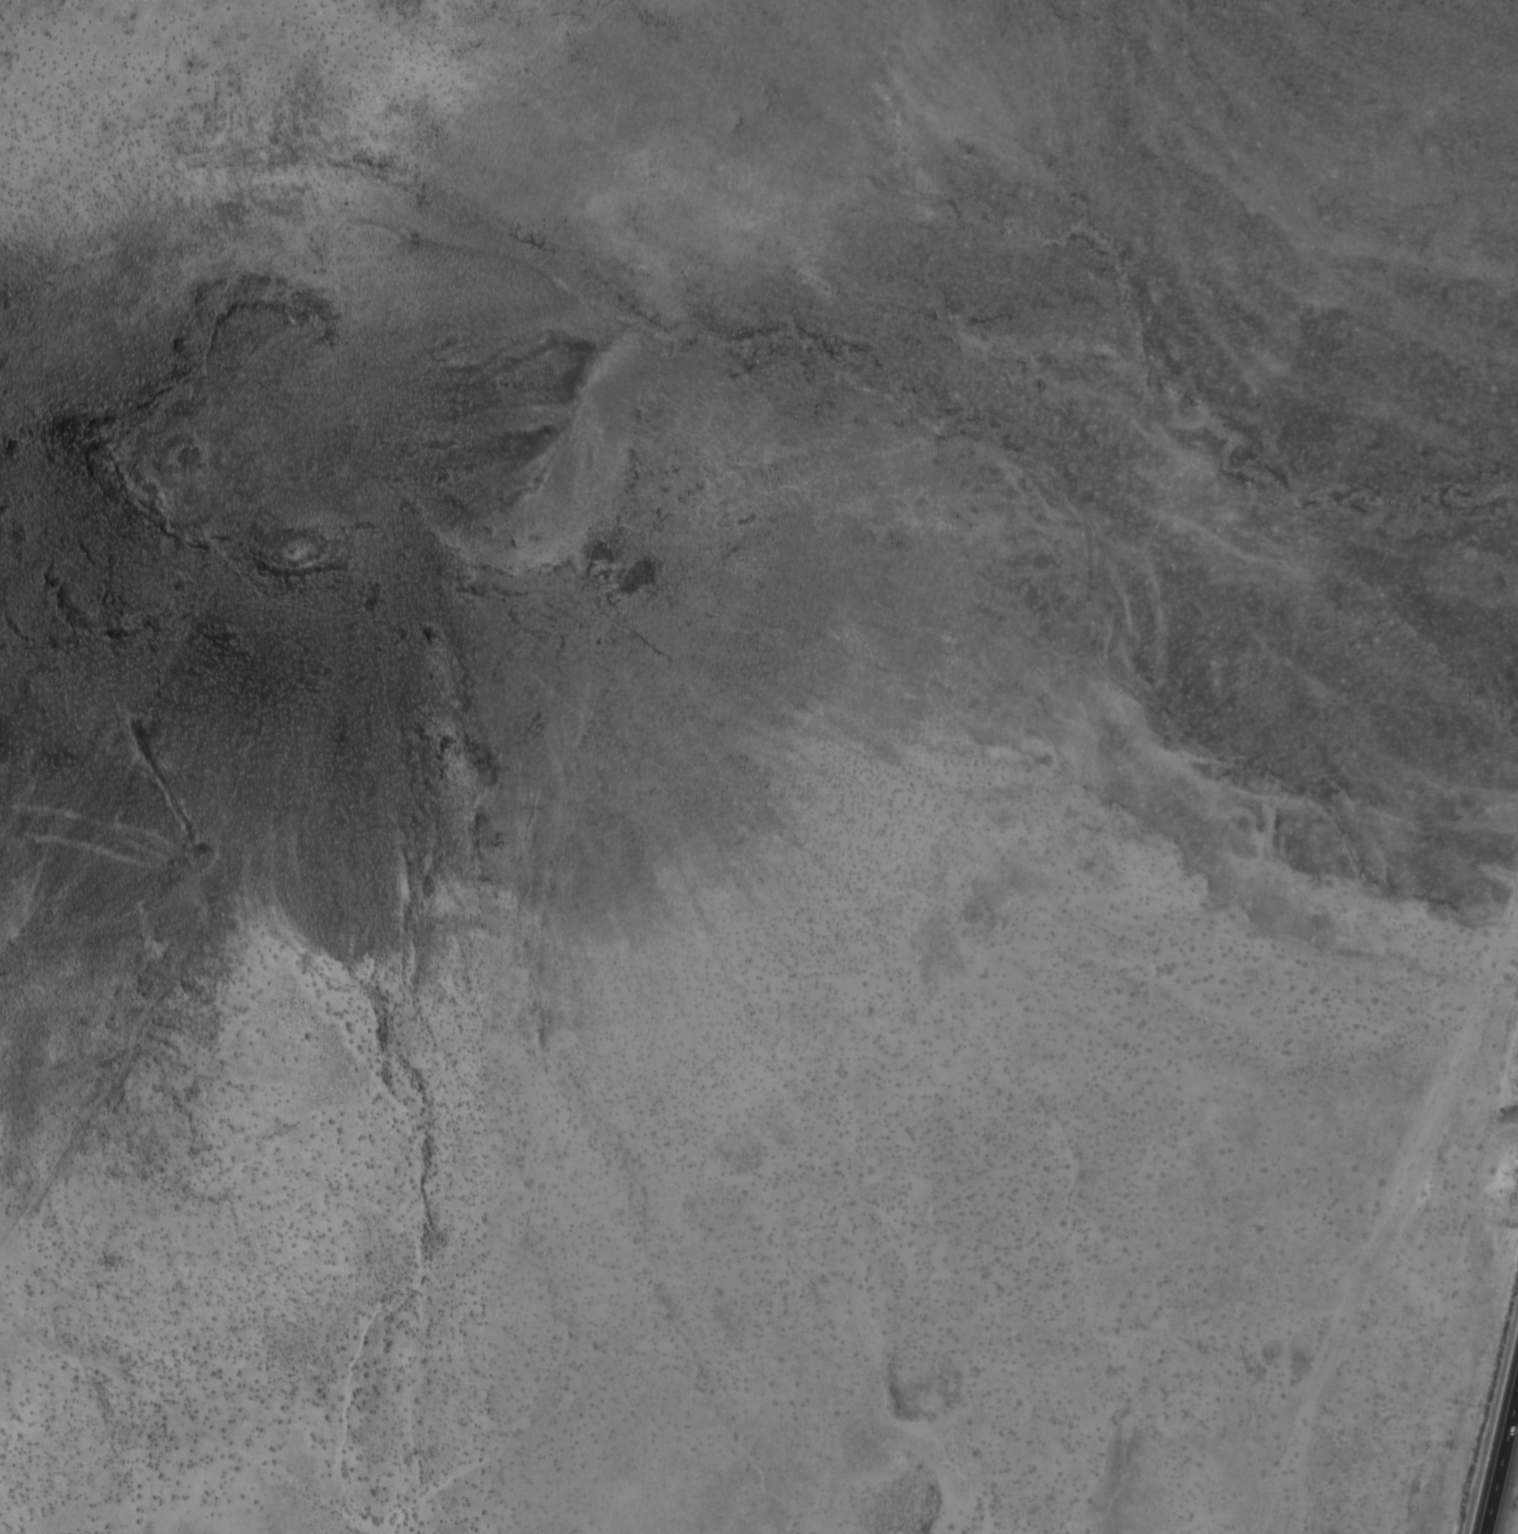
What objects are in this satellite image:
road: (1501, 1463)

